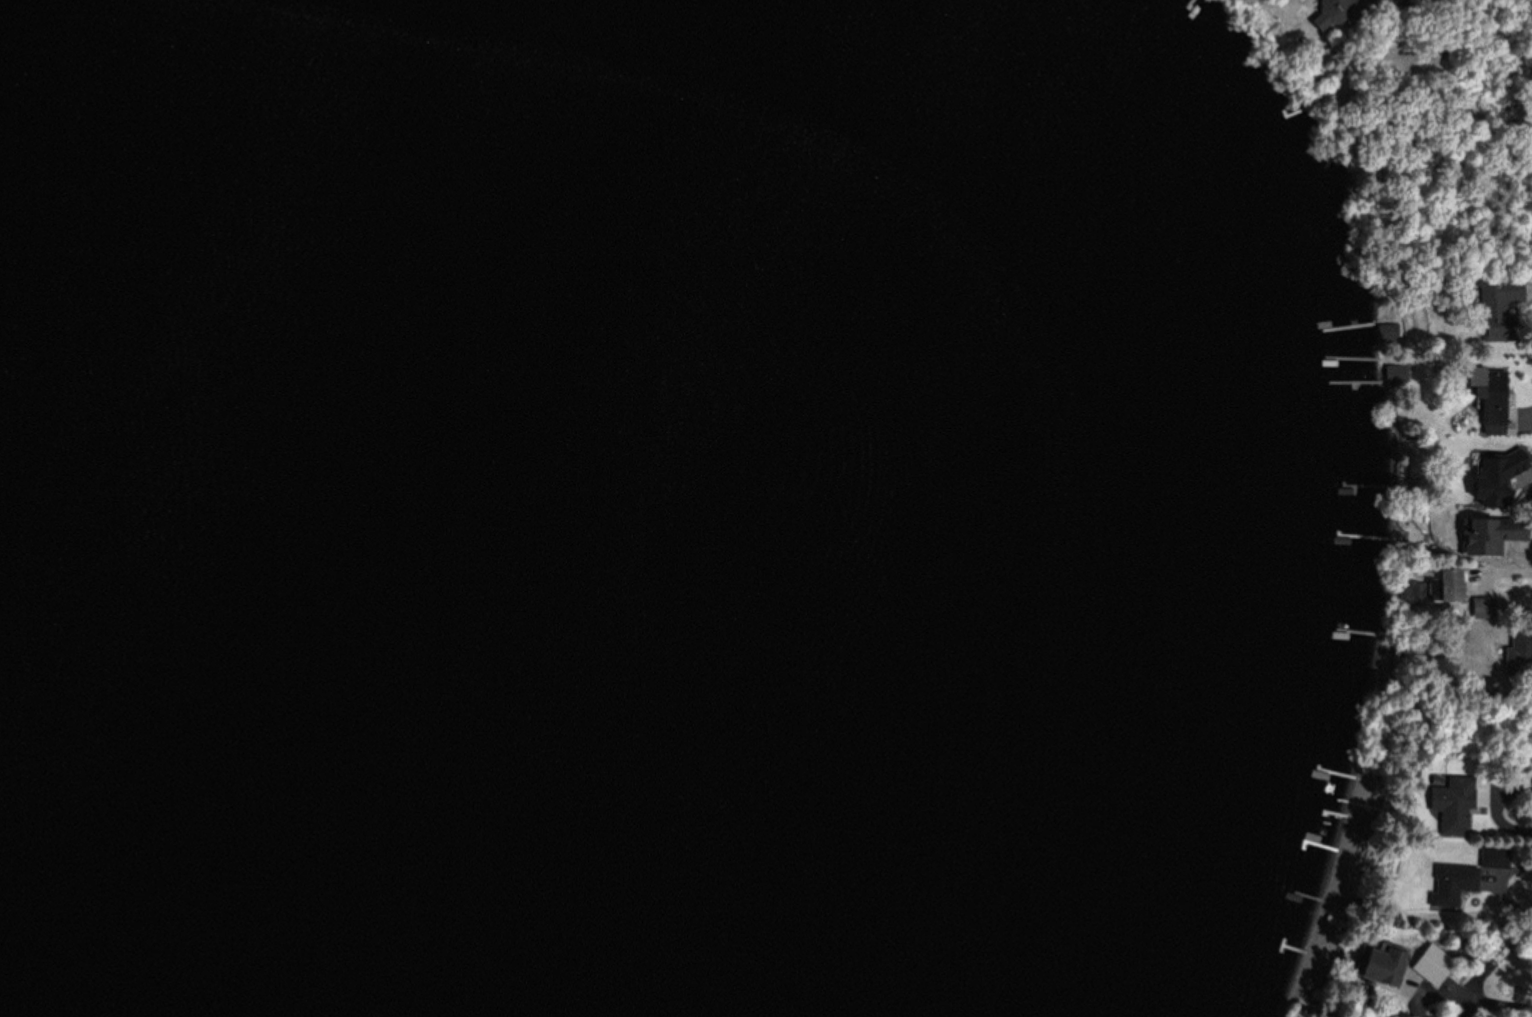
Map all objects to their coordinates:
building: (1489, 308)
building: (1489, 397)
building: (1490, 477)
building: (1488, 534)
road: (1490, 579)
building: (1450, 810)
road: (1509, 819)
road: (1513, 865)
building: (1450, 881)
building: (1426, 963)
building: (1376, 965)
road: (1442, 989)
road: (1508, 1004)
road: (1472, 1009)

